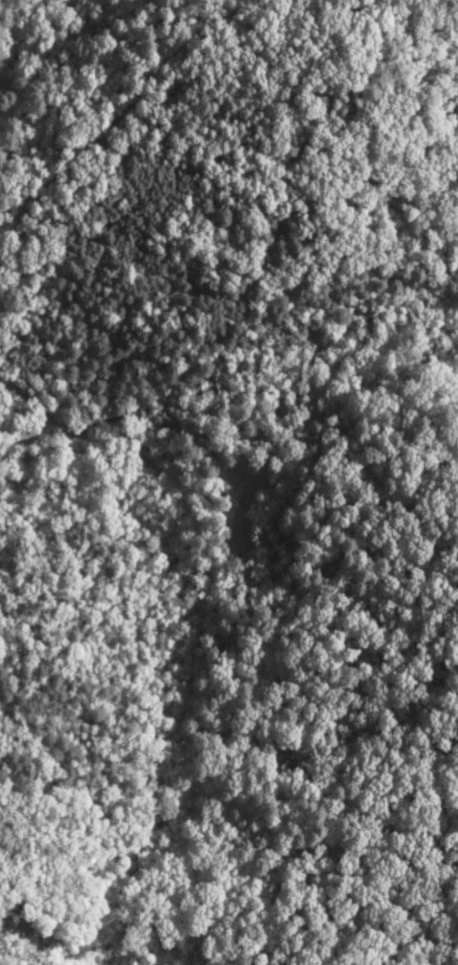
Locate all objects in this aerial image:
road: (429, 927)

